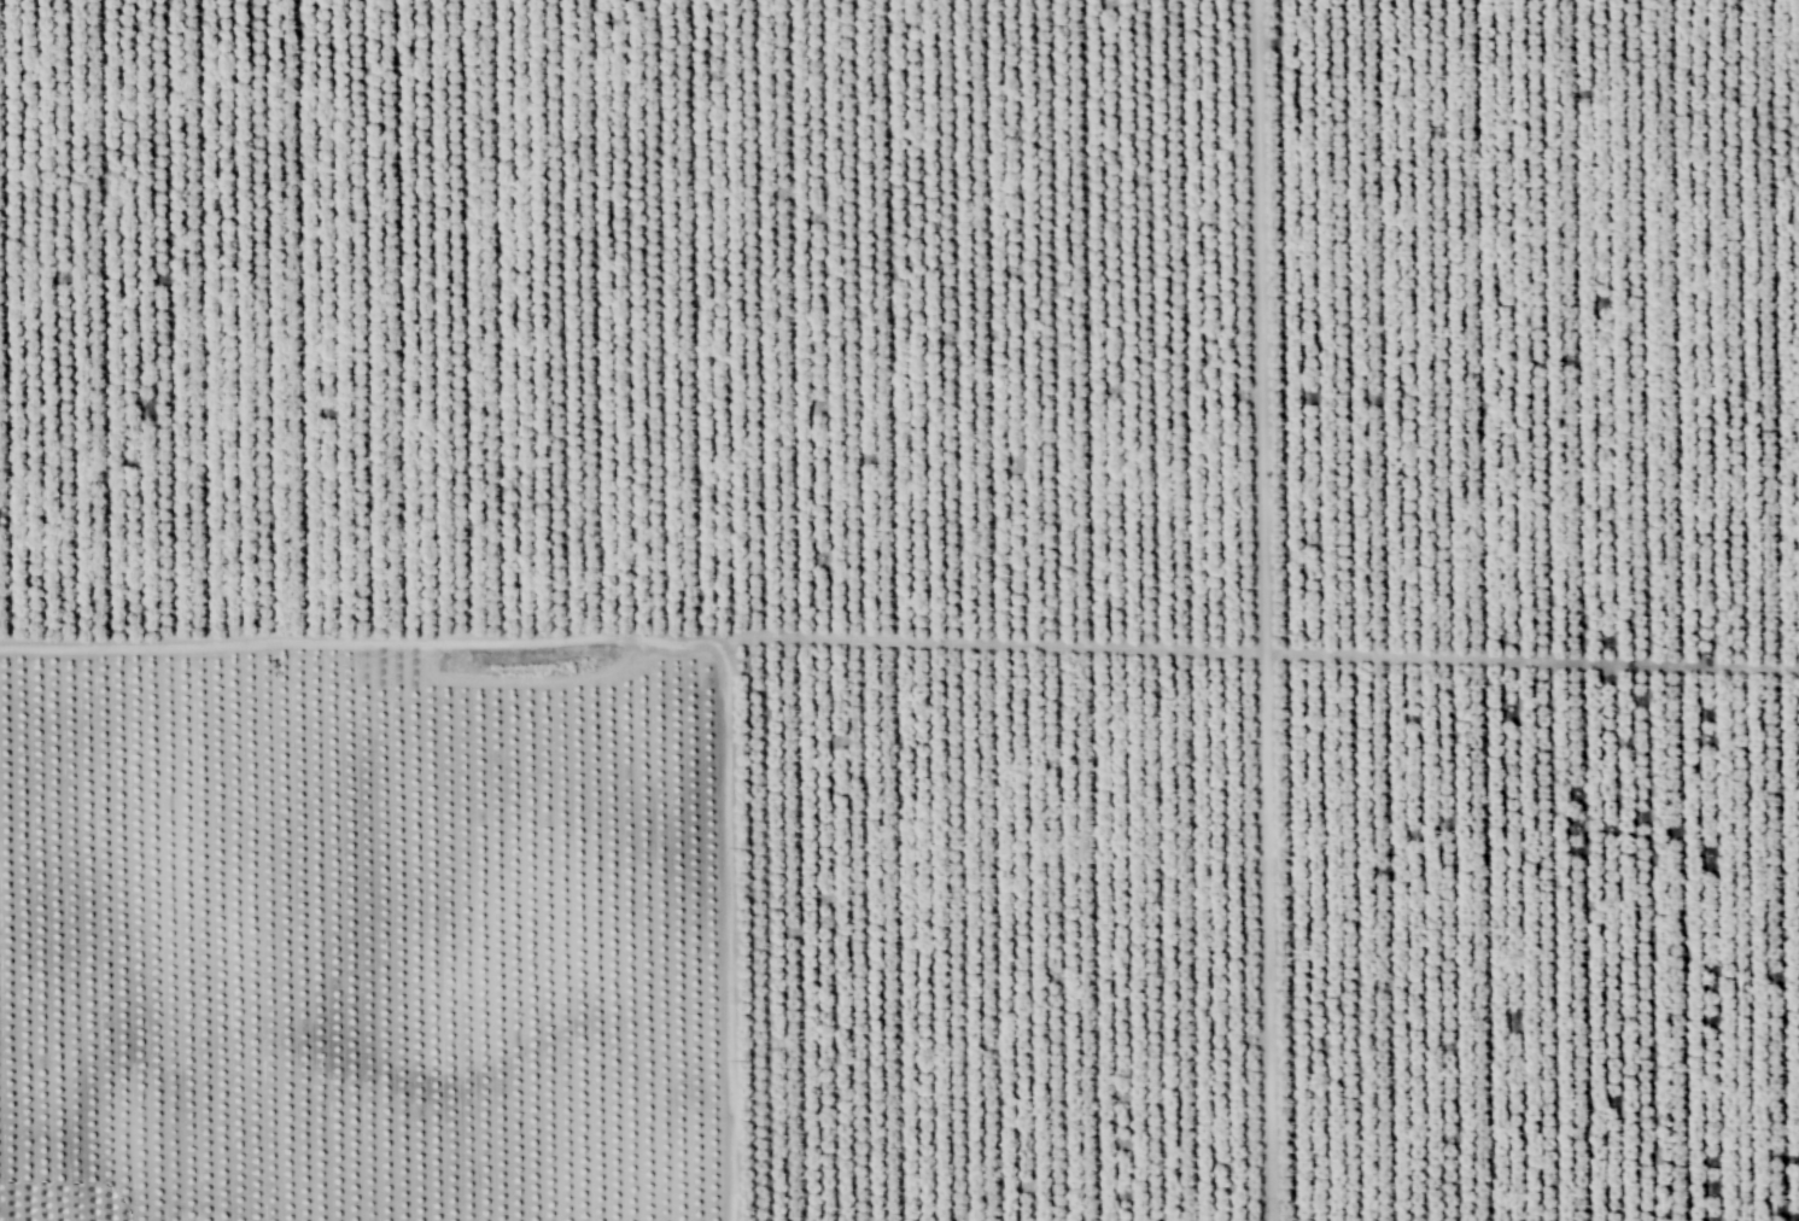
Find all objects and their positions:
crop: (899, 610)

